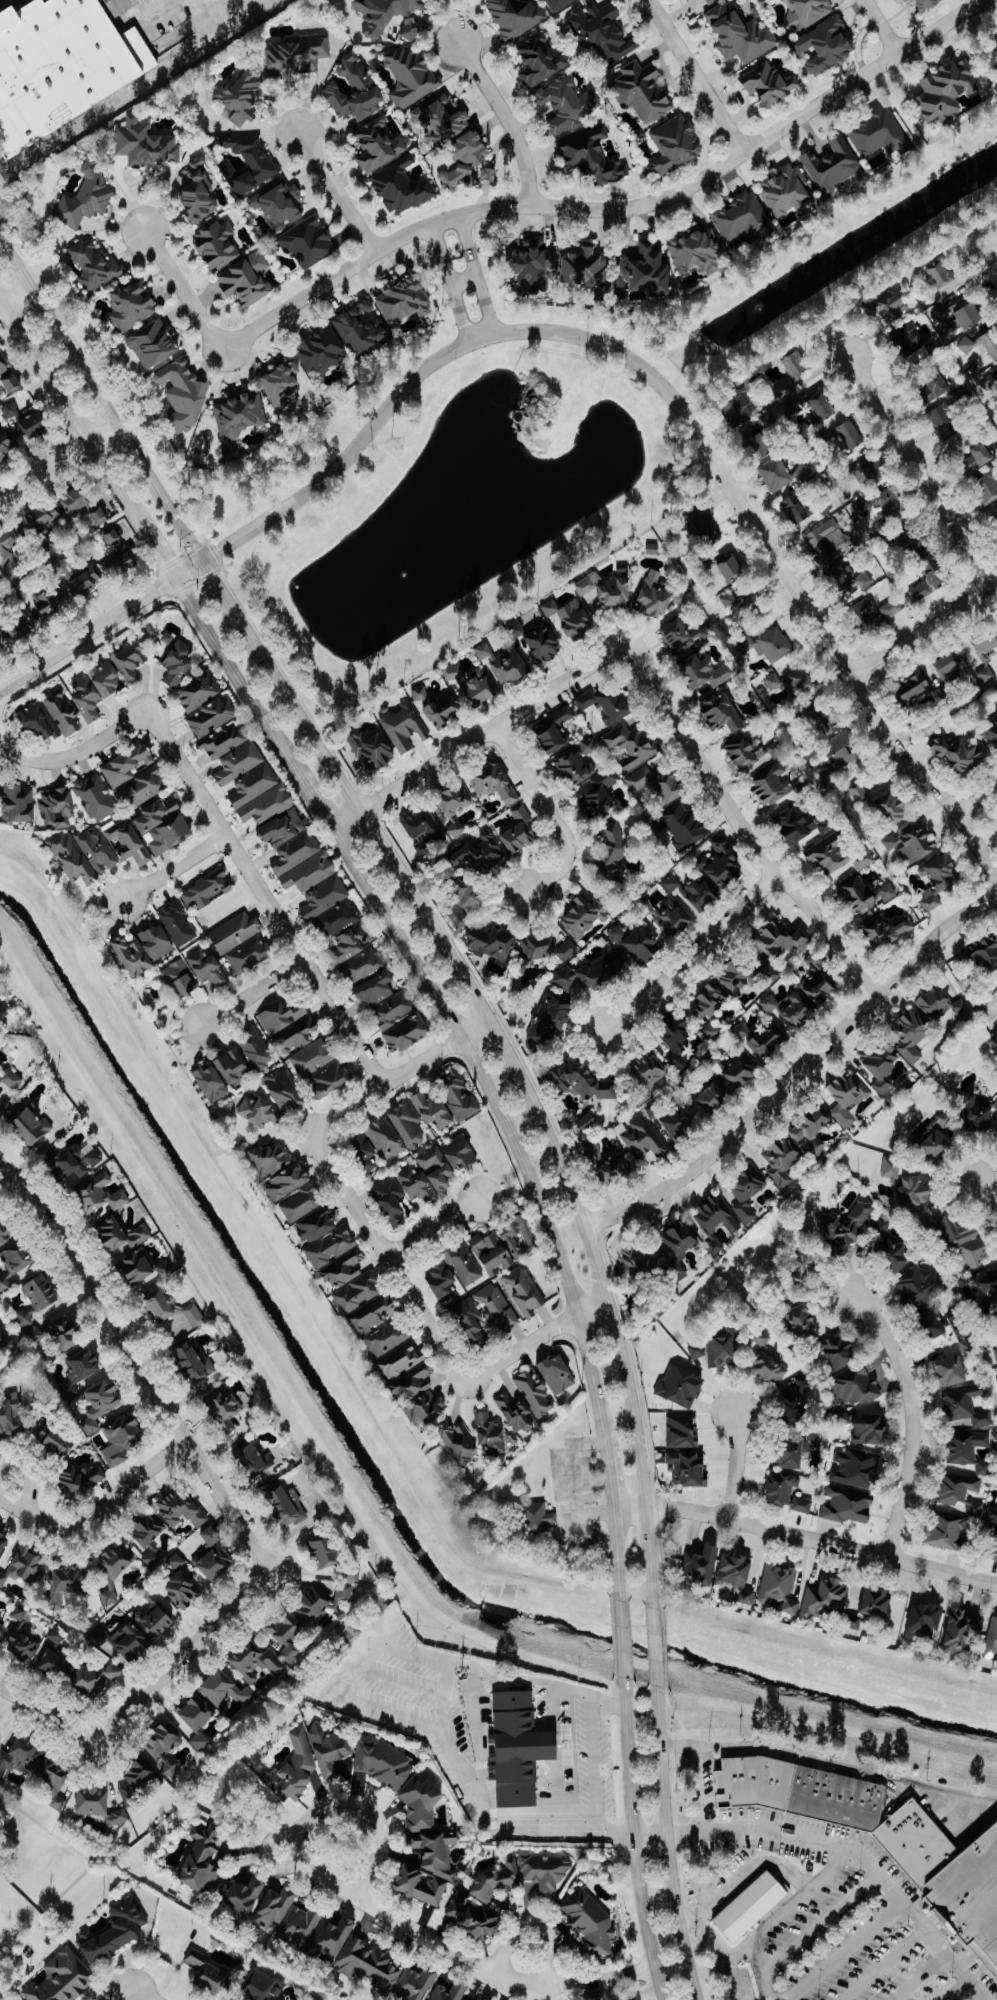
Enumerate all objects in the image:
building: (687, 0)
building: (907, 0)
building: (710, 1)
building: (558, 4)
building: (930, 4)
building: (807, 11)
building: (514, 16)
building: (390, 17)
road: (886, 26)
building: (602, 32)
building: (741, 34)
building: (827, 45)
building: (89, 51)
building: (298, 56)
building: (539, 60)
building: (410, 76)
road: (697, 76)
building: (770, 84)
road: (136, 88)
building: (355, 89)
building: (948, 90)
building: (642, 92)
building: (242, 98)
building: (567, 105)
building: (454, 108)
road: (502, 117)
building: (441, 119)
building: (880, 133)
building: (144, 143)
building: (378, 145)
building: (676, 145)
building: (592, 156)
building: (466, 160)
building: (252, 163)
building: (834, 165)
building: (490, 174)
building: (402, 187)
building: (788, 190)
road: (339, 191)
building: (198, 193)
building: (86, 197)
building: (280, 205)
road: (614, 209)
building: (742, 220)
building: (308, 242)
building: (217, 245)
road: (468, 245)
building: (698, 252)
road: (440, 253)
building: (531, 264)
building: (95, 266)
road: (995, 266)
building: (586, 268)
building: (645, 272)
building: (942, 274)
building: (247, 280)
road: (463, 280)
road: (186, 290)
road: (15, 295)
building: (404, 300)
road: (485, 305)
building: (131, 307)
building: (892, 307)
road: (459, 312)
building: (970, 316)
building: (363, 330)
building: (991, 343)
building: (153, 345)
building: (911, 345)
building: (966, 345)
building: (323, 351)
road: (425, 364)
building: (797, 365)
building: (7, 374)
building: (990, 381)
building: (282, 383)
building: (936, 386)
building: (183, 395)
road: (100, 399)
building: (739, 405)
building: (823, 406)
building: (10, 410)
road: (67, 411)
building: (240, 414)
building: (945, 422)
building: (34, 425)
building: (851, 435)
building: (7, 447)
building: (759, 448)
road: (57, 457)
building: (980, 457)
road: (919, 469)
building: (871, 471)
building: (776, 477)
building: (988, 485)
building: (75, 501)
building: (891, 506)
building: (797, 509)
building: (99, 516)
building: (44, 519)
building: (707, 535)
building: (112, 536)
building: (828, 541)
building: (913, 543)
road: (155, 549)
building: (10, 553)
traffic signals: (200, 560)
building: (119, 562)
building: (731, 568)
building: (931, 577)
building: (79, 578)
traffic signals: (173, 578)
building: (848, 578)
building: (589, 584)
road: (221, 592)
building: (617, 592)
building: (661, 596)
building: (53, 601)
building: (744, 603)
building: (892, 608)
building: (869, 613)
building: (569, 618)
road: (100, 624)
road: (921, 627)
building: (517, 630)
building: (684, 635)
building: (168, 638)
building: (544, 644)
building: (774, 645)
building: (986, 648)
road: (834, 655)
building: (131, 661)
building: (178, 664)
building: (505, 664)
building: (949, 668)
building: (452, 673)
building: (707, 673)
building: (986, 675)
road: (237, 678)
building: (108, 680)
building: (802, 681)
building: (773, 682)
building: (479, 688)
building: (915, 688)
building: (200, 693)
building: (422, 698)
building: (995, 699)
building: (89, 700)
building: (608, 705)
building: (445, 712)
building: (724, 713)
building: (64, 716)
building: (211, 718)
building: (40, 723)
building: (405, 728)
building: (554, 730)
road: (478, 736)
building: (992, 737)
building: (836, 738)
building: (225, 741)
building: (632, 745)
building: (374, 752)
building: (753, 752)
building: (961, 755)
building: (240, 763)
building: (578, 764)
building: (128, 765)
building: (495, 784)
building: (772, 784)
building: (254, 785)
building: (658, 785)
building: (144, 787)
building: (859, 792)
building: (599, 797)
building: (97, 798)
road: (977, 799)
building: (20, 804)
road: (316, 804)
building: (267, 806)
building: (58, 809)
building: (455, 809)
building: (893, 810)
road: (551, 812)
road: (366, 820)
building: (423, 825)
building: (801, 826)
building: (165, 827)
road: (220, 827)
building: (687, 827)
road: (740, 827)
building: (284, 829)
building: (521, 832)
building: (128, 842)
building: (911, 843)
building: (422, 848)
building: (98, 850)
building: (480, 852)
building: (296, 853)
building: (613, 853)
building: (837, 855)
building: (74, 858)
building: (723, 864)
road: (174, 866)
building: (311, 873)
building: (942, 874)
building: (671, 883)
building: (207, 891)
building: (865, 895)
building: (701, 896)
building: (325, 898)
building: (930, 901)
building: (584, 915)
building: (338, 919)
building: (676, 922)
building: (178, 925)
building: (884, 931)
building: (235, 933)
building: (617, 934)
building: (781, 940)
building: (157, 942)
building: (494, 943)
building: (350, 945)
building: (644, 946)
building: (546, 948)
road: (693, 953)
building: (249, 955)
building: (983, 956)
building: (134, 958)
building: (816, 963)
building: (362, 967)
building: (208, 969)
building: (590, 976)
building: (180, 979)
building: (737, 979)
building: (820, 989)
building: (377, 990)
road: (253, 992)
building: (709, 1003)
building: (941, 1004)
building: (394, 1010)
building: (792, 1010)
building: (549, 1024)
building: (712, 1031)
building: (741, 1031)
building: (408, 1033)
building: (912, 1035)
building: (297, 1038)
building: (678, 1042)
building: (770, 1043)
road: (504, 1046)
building: (256, 1050)
building: (880, 1066)
building: (235, 1068)
building: (651, 1070)
road: (797, 1070)
building: (742, 1073)
road: (398, 1074)
building: (12, 1079)
building: (332, 1079)
building: (584, 1082)
building: (212, 1084)
building: (284, 1091)
building: (459, 1096)
building: (848, 1099)
building: (711, 1101)
building: (996, 1107)
building: (433, 1111)
building: (260, 1113)
building: (976, 1116)
building: (587, 1122)
building: (680, 1124)
building: (31, 1126)
building: (409, 1126)
road: (507, 1126)
building: (814, 1132)
building: (386, 1139)
building: (942, 1139)
building: (365, 1153)
building: (460, 1154)
building: (271, 1159)
building: (784, 1162)
building: (74, 1163)
building: (616, 1170)
building: (894, 1170)
building: (428, 1177)
building: (289, 1182)
building: (914, 1193)
road: (985, 1194)
building: (99, 1195)
building: (748, 1196)
building: (390, 1201)
building: (303, 1203)
building: (715, 1216)
building: (850, 1223)
road: (433, 1227)
building: (5, 1231)
building: (122, 1236)
building: (960, 1236)
building: (680, 1243)
building: (715, 1247)
building: (332, 1248)
building: (497, 1250)
building: (895, 1255)
road: (386, 1258)
building: (637, 1259)
building: (16, 1261)
building: (808, 1263)
building: (464, 1264)
building: (140, 1269)
building: (345, 1270)
building: (990, 1281)
building: (443, 1282)
building: (921, 1285)
building: (526, 1291)
building: (360, 1292)
building: (161, 1305)
building: (497, 1307)
building: (32, 1311)
building: (194, 1315)
building: (471, 1320)
building: (803, 1320)
building: (934, 1322)
building: (382, 1325)
building: (960, 1325)
road: (616, 1329)
road: (535, 1338)
building: (7, 1340)
building: (968, 1347)
building: (724, 1348)
building: (700, 1351)
building: (995, 1351)
building: (841, 1352)
building: (767, 1360)
building: (402, 1361)
building: (195, 1362)
building: (83, 1365)
building: (952, 1370)
building: (558, 1374)
building: (414, 1385)
building: (682, 1386)
building: (856, 1387)
building: (536, 1394)
building: (796, 1401)
building: (102, 1404)
building: (968, 1406)
building: (226, 1409)
building: (427, 1409)
building: (517, 1414)
building: (12, 1415)
road: (911, 1419)
building: (871, 1429)
building: (682, 1432)
building: (58, 1439)
building: (123, 1439)
building: (460, 1442)
building: (967, 1446)
building: (797, 1451)
building: (255, 1459)
road: (735, 1465)
building: (689, 1468)
building: (857, 1468)
building: (983, 1468)
road: (210, 1472)
building: (82, 1479)
road: (610, 1483)
building: (958, 1488)
building: (785, 1491)
building: (289, 1506)
building: (849, 1506)
building: (181, 1509)
road: (103, 1514)
building: (992, 1514)
building: (541, 1517)
building: (149, 1531)
building: (948, 1531)
building: (212, 1536)
road: (806, 1537)
building: (3, 1543)
building: (995, 1548)
building: (326, 1551)
road: (615, 1553)
building: (152, 1558)
building: (176, 1561)
building: (215, 1562)
building: (703, 1565)
building: (24, 1566)
building: (739, 1575)
building: (67, 1581)
building: (781, 1587)
building: (184, 1589)
building: (825, 1598)
building: (877, 1602)
building: (325, 1604)
building: (155, 1615)
building: (924, 1622)
building: (1, 1625)
building: (960, 1632)
building: (287, 1635)
building: (58, 1636)
building: (992, 1641)
building: (131, 1642)
road: (621, 1643)
road: (656, 1645)
building: (257, 1662)
building: (53, 1663)
building: (96, 1678)
building: (226, 1690)
road: (41, 1704)
building: (199, 1719)
road: (480, 1743)
building: (519, 1749)
building: (330, 1750)
road: (777, 1753)
building: (20, 1756)
building: (383, 1762)
road: (593, 1762)
building: (151, 1765)
building: (294, 1771)
building: (54, 1782)
road: (698, 1789)
road: (943, 1790)
building: (798, 1791)
building: (99, 1805)
road: (360, 1807)
building: (913, 1843)
building: (426, 1845)
road: (633, 1845)
road: (669, 1847)
road: (859, 1853)
building: (203, 1861)
road: (744, 1875)
building: (523, 1876)
building: (246, 1896)
building: (972, 1903)
building: (749, 1905)
building: (276, 1909)
road: (782, 1914)
building: (473, 1917)
road: (535, 1920)
building: (590, 1923)
road: (819, 1924)
building: (301, 1925)
road: (410, 1929)
building: (116, 1932)
building: (333, 1937)
road: (846, 1951)
road: (744, 1952)
road: (729, 1953)
road: (885, 1964)
building: (384, 1971)
building: (207, 1972)
road: (919, 1976)
building: (63, 1979)
road: (600, 1980)
building: (264, 1986)
road: (960, 1990)
building: (450, 1992)
road: (133, 1997)
road: (142, 1997)
building: (482, 1998)
road: (545, 1998)
road: (549, 1998)
road: (650, 1998)

